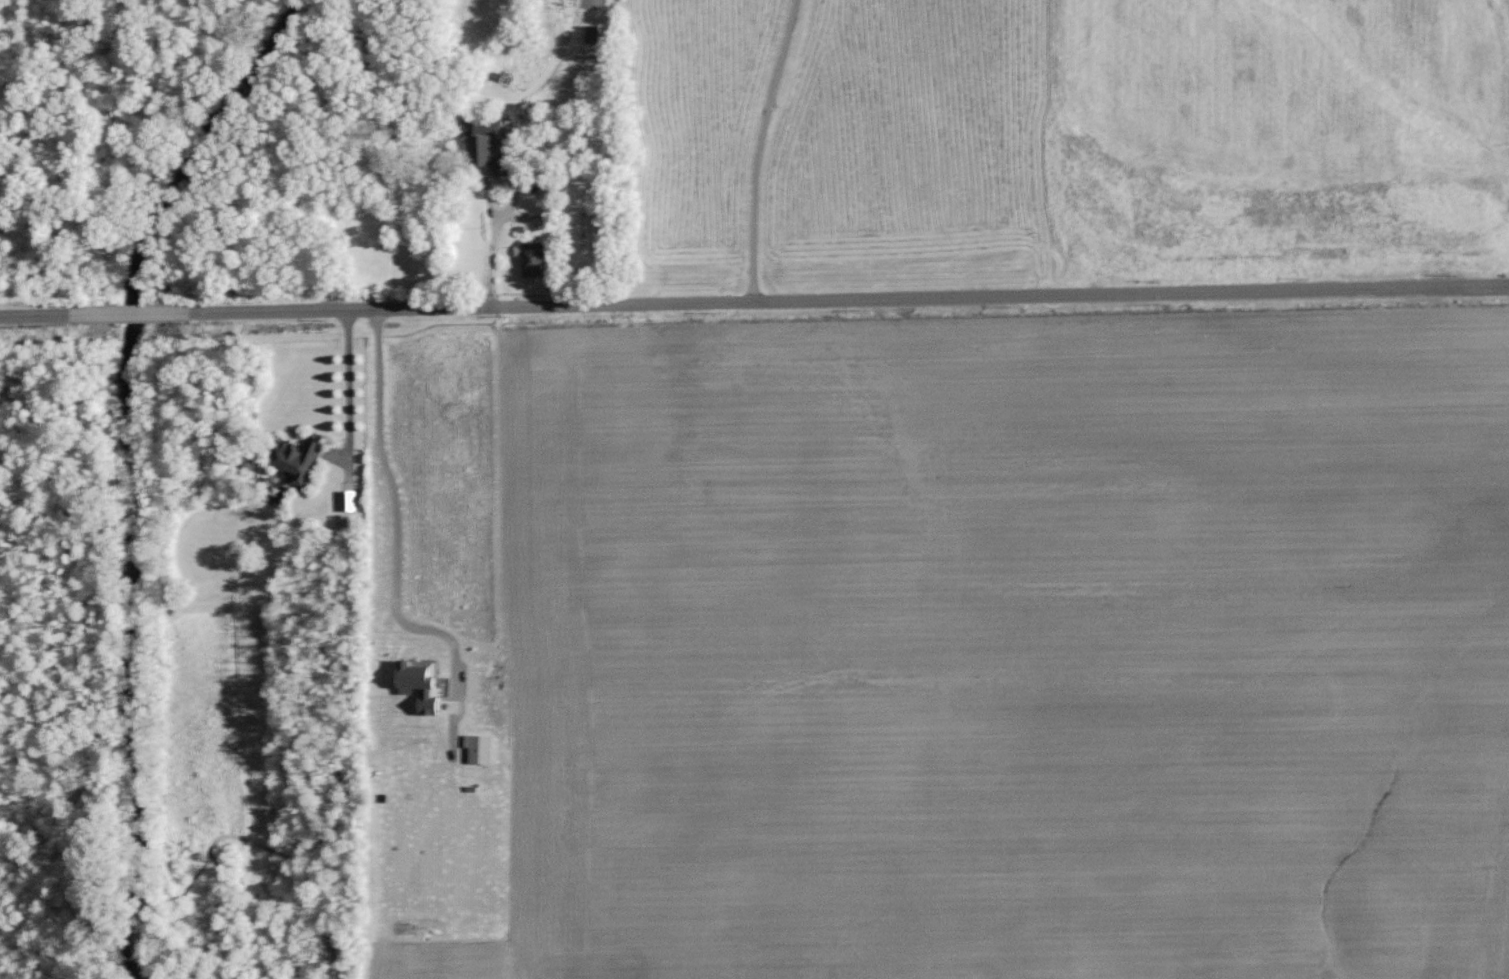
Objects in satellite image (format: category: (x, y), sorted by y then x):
road: (762, 139)
building: (486, 141)
building: (531, 260)
road: (754, 282)
road: (350, 375)
building: (295, 459)
road: (384, 462)
building: (416, 684)
building: (476, 748)

